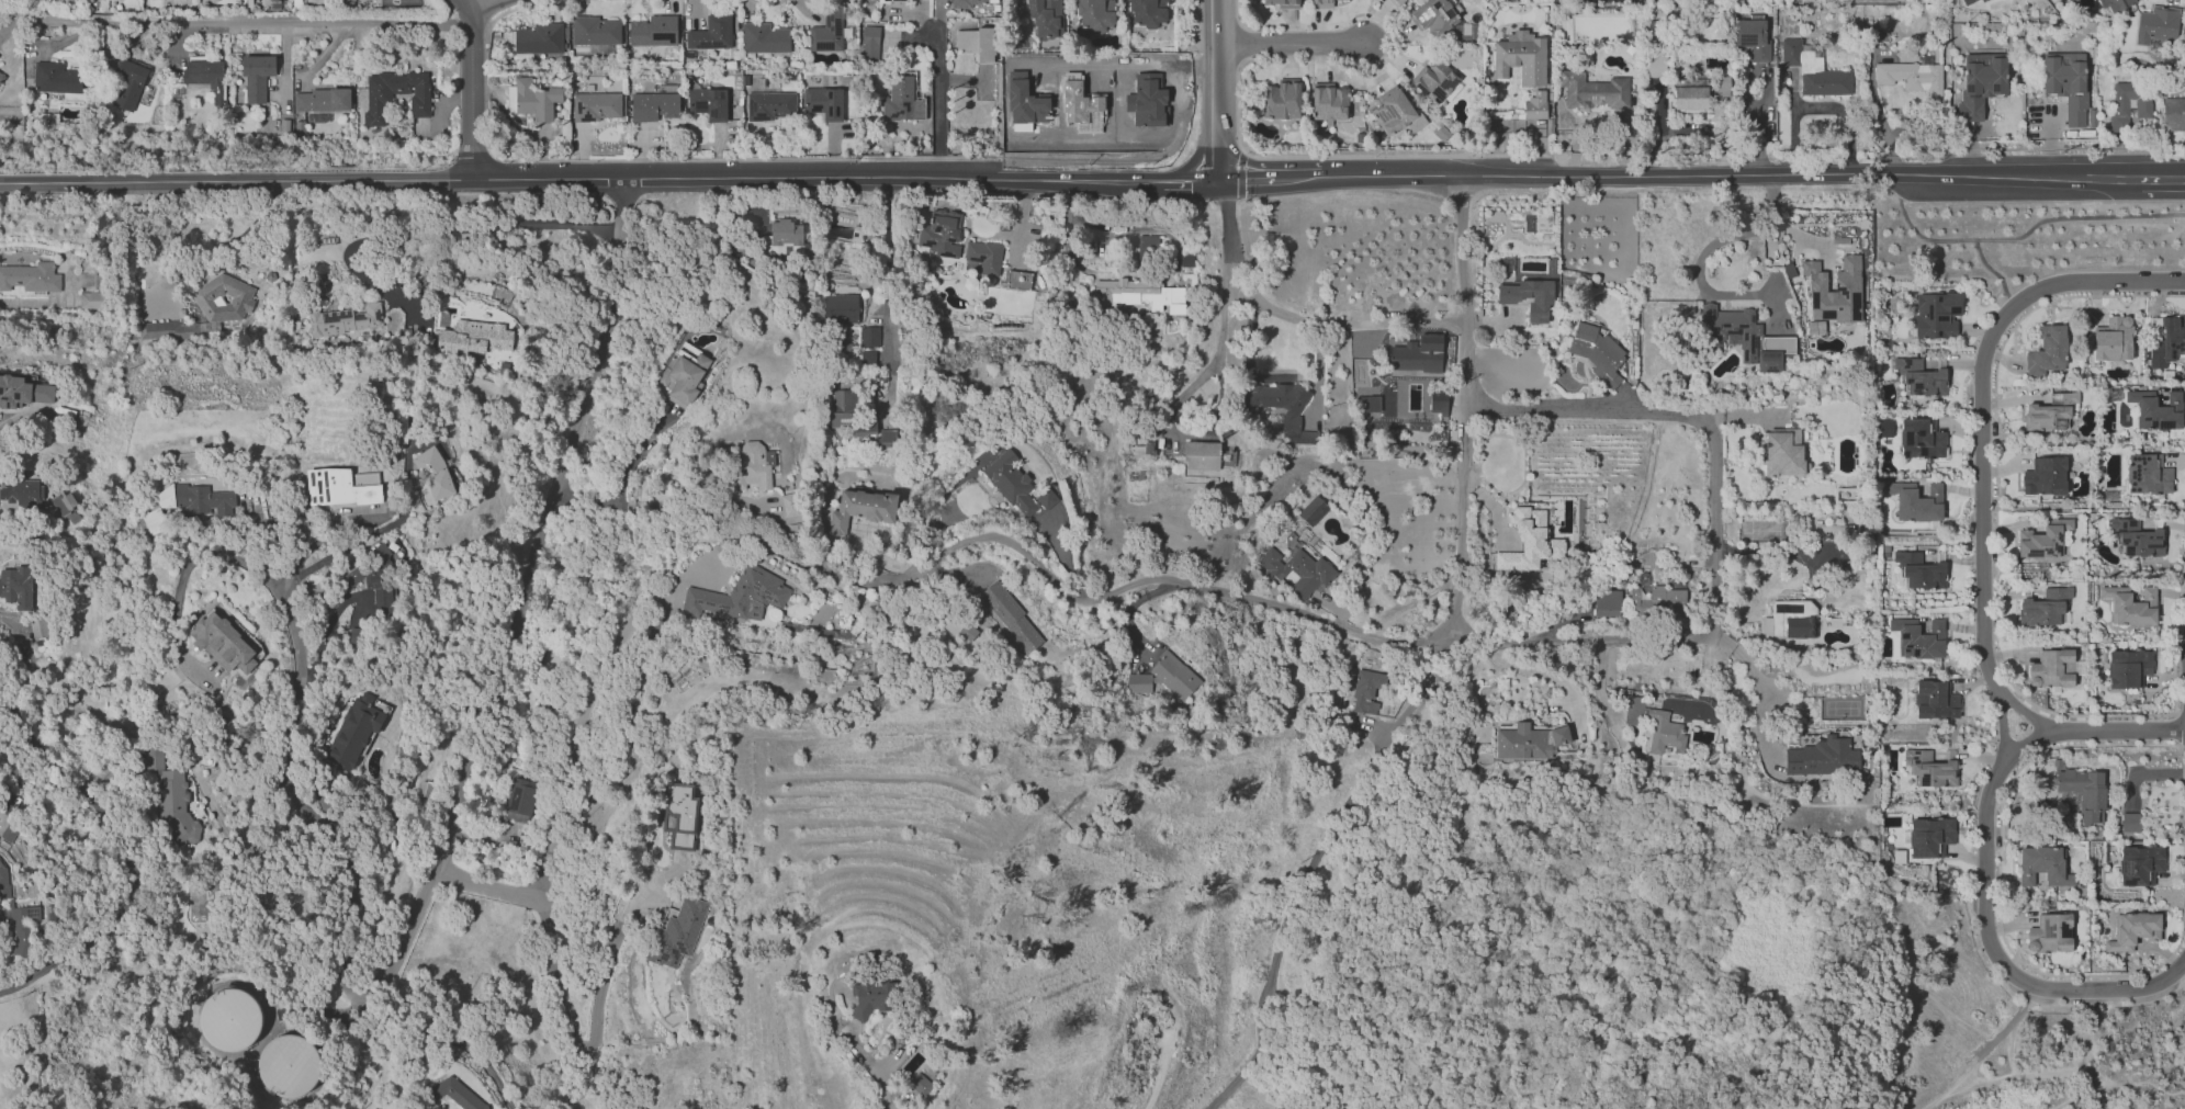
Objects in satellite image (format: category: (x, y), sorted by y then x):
road: (442, 1)
road: (768, 1)
building: (969, 2)
building: (1283, 2)
building: (1397, 2)
building: (1968, 2)
building: (106, 3)
building: (297, 3)
road: (492, 3)
road: (529, 3)
building: (1321, 3)
building: (2116, 3)
road: (491, 8)
building: (1147, 12)
building: (1094, 14)
building: (1435, 15)
building: (1045, 16)
road: (1209, 22)
road: (234, 23)
building: (2156, 23)
building: (594, 30)
building: (652, 31)
building: (830, 32)
building: (710, 33)
building: (764, 37)
building: (539, 38)
building: (1752, 38)
building: (977, 43)
building: (870, 44)
road: (1285, 44)
building: (1520, 57)
building: (1654, 66)
building: (1813, 69)
building: (206, 75)
building: (258, 76)
building: (1910, 76)
building: (1, 77)
building: (57, 78)
building: (1434, 80)
building: (129, 82)
building: (1980, 82)
road: (1210, 83)
building: (1721, 86)
building: (2068, 86)
road: (471, 88)
building: (1593, 89)
building: (176, 93)
building: (1690, 93)
building: (902, 98)
building: (380, 99)
building: (1281, 99)
building: (324, 100)
building: (534, 100)
building: (1329, 101)
building: (823, 102)
building: (708, 103)
building: (1536, 104)
building: (598, 105)
building: (653, 105)
building: (769, 105)
building: (2120, 106)
road: (937, 107)
building: (1393, 111)
building: (2173, 114)
building: (317, 117)
building: (274, 122)
building: (285, 124)
building: (1486, 125)
building: (301, 127)
road: (1210, 151)
road: (664, 158)
road: (1192, 161)
road: (1247, 163)
road: (1720, 174)
road: (2163, 178)
road: (1241, 179)
road: (576, 180)
road: (1182, 180)
traffic signals: (1210, 180)
road: (1286, 180)
road: (2076, 218)
road: (1065, 223)
road: (560, 225)
building: (941, 233)
building: (784, 239)
road: (1963, 241)
road: (1712, 245)
building: (1148, 248)
road: (887, 250)
building: (984, 256)
building: (1186, 261)
building: (31, 276)
building: (1835, 291)
building: (1527, 292)
building: (1139, 295)
road: (1771, 295)
building: (223, 298)
building: (91, 301)
building: (841, 308)
building: (1937, 314)
road: (1296, 318)
building: (343, 319)
building: (168, 330)
building: (870, 337)
building: (1744, 337)
building: (473, 338)
building: (2113, 338)
building: (2167, 341)
road: (1223, 350)
building: (2047, 351)
building: (1598, 352)
building: (1419, 354)
building: (867, 359)
building: (684, 376)
building: (1921, 377)
building: (23, 391)
building: (1438, 403)
building: (1367, 404)
building: (1283, 407)
road: (1464, 407)
road: (1980, 409)
building: (2154, 410)
building: (2051, 412)
road: (20, 414)
building: (851, 416)
building: (886, 439)
building: (1922, 439)
building: (1783, 452)
building: (1202, 455)
building: (754, 466)
building: (437, 473)
building: (2147, 474)
building: (2043, 476)
building: (1015, 485)
building: (339, 488)
building: (23, 493)
building: (165, 498)
building: (203, 498)
building: (63, 501)
building: (1917, 501)
building: (790, 505)
building: (863, 508)
building: (1313, 510)
building: (71, 516)
building: (154, 518)
building: (1834, 532)
building: (2136, 537)
road: (1714, 539)
building: (2043, 539)
building: (1530, 541)
road: (1775, 551)
road: (330, 555)
building: (1919, 570)
building: (1298, 572)
building: (350, 577)
building: (379, 578)
building: (11, 584)
road: (654, 586)
road: (1120, 590)
building: (739, 596)
building: (1607, 603)
building: (1657, 603)
road: (173, 606)
building: (2130, 606)
building: (2045, 608)
building: (1007, 615)
building: (1801, 626)
building: (1918, 638)
building: (223, 642)
building: (2128, 668)
building: (2051, 669)
building: (1163, 679)
road: (1757, 686)
building: (1366, 691)
building: (1936, 700)
road: (2027, 712)
road: (2003, 725)
building: (1657, 727)
building: (354, 729)
building: (1529, 740)
building: (154, 757)
building: (1824, 757)
building: (1928, 767)
road: (2139, 773)
building: (425, 788)
building: (2084, 792)
parking lot: (1976, 794)
building: (521, 796)
building: (174, 804)
building: (680, 814)
building: (2132, 822)
building: (8, 833)
building: (1929, 835)
road: (120, 855)
road: (440, 858)
building: (2140, 863)
building: (2043, 865)
road: (1314, 867)
road: (1985, 867)
building: (2155, 876)
building: (19, 907)
road: (1, 917)
building: (2132, 930)
building: (676, 931)
building: (2050, 933)
parking lot: (2155, 993)
parking lot: (2029, 995)
building: (870, 996)
parking lot: (2094, 1000)
building: (232, 1018)
storage tank: (232, 1018)
road: (570, 1021)
road: (457, 1034)
road: (41, 1040)
road: (1985, 1053)
building: (289, 1064)
storage tank: (289, 1064)
road: (870, 1065)
road: (2051, 1072)
building: (920, 1082)
building: (452, 1093)

